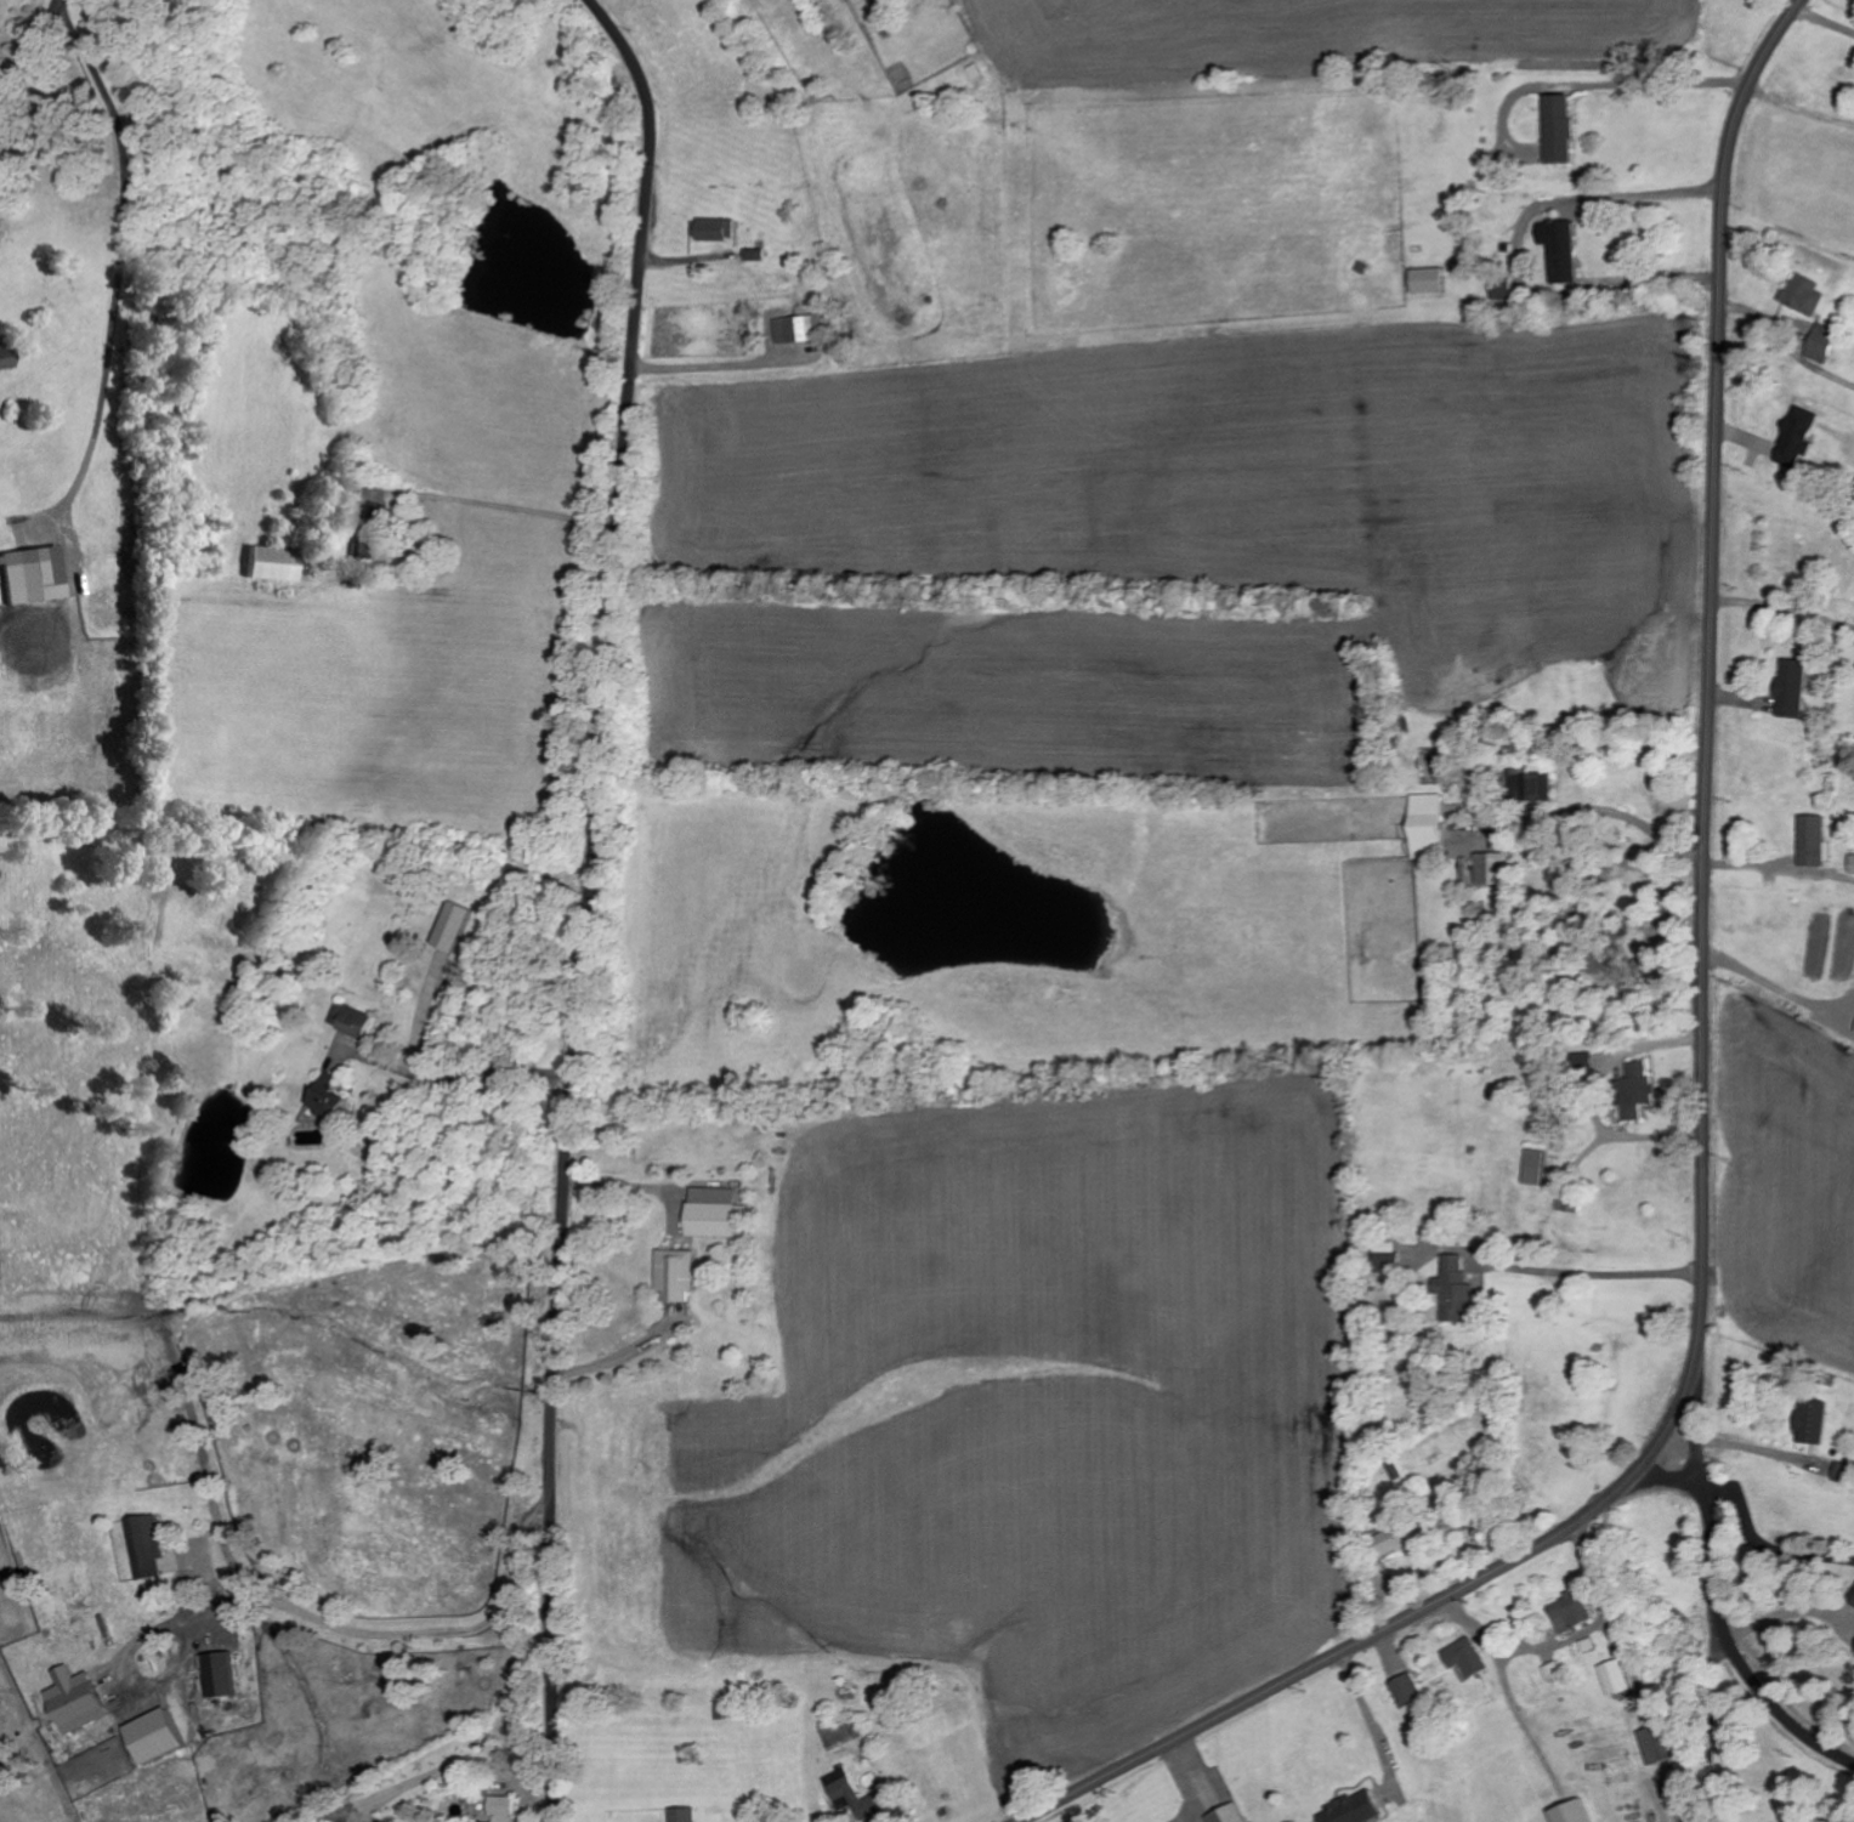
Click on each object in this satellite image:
building: (1557, 130)
building: (714, 231)
building: (1558, 250)
building: (1425, 282)
building: (1501, 290)
building: (1802, 295)
building: (799, 330)
building: (1820, 345)
building: (4, 357)
building: (1793, 439)
building: (363, 539)
building: (267, 564)
building: (30, 575)
building: (1790, 689)
building: (1529, 787)
building: (1424, 828)
building: (1812, 844)
building: (1852, 865)
building: (1490, 869)
road: (590, 902)
building: (449, 929)
building: (347, 1021)
building: (1853, 1033)
road: (1705, 1090)
building: (1633, 1091)
building: (324, 1099)
building: (1532, 1169)
building: (713, 1214)
building: (1384, 1259)
building: (674, 1276)
building: (1451, 1292)
building: (1809, 1424)
building: (1841, 1474)
building: (1390, 1542)
road: (1711, 1589)
building: (1850, 1597)
building: (1569, 1613)
building: (1463, 1659)
building: (215, 1676)
building: (1615, 1680)
building: (1405, 1692)
building: (72, 1703)
building: (840, 1736)
building: (1655, 1746)
building: (855, 1799)
building: (1350, 1810)
building: (1571, 1814)
building: (1226, 1815)
building: (681, 1816)

